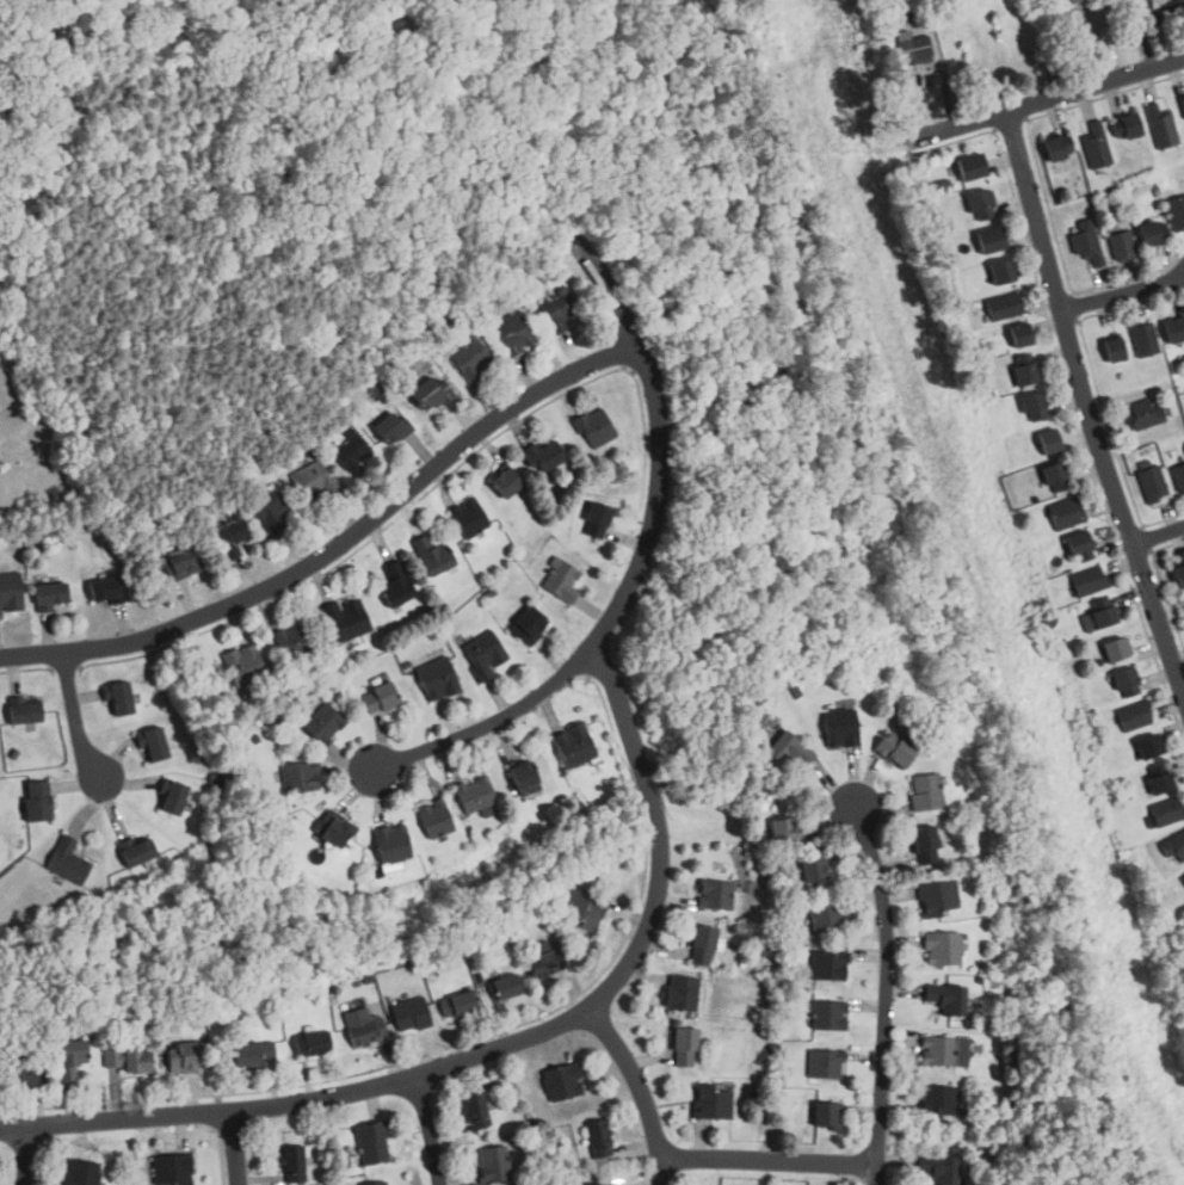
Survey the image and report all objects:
building: (1166, 2)
building: (914, 48)
road: (1052, 98)
building: (1183, 99)
building: (1128, 125)
building: (1164, 126)
building: (1098, 144)
building: (1057, 147)
building: (972, 167)
park: (322, 175)
building: (982, 205)
building: (1177, 211)
building: (1152, 233)
building: (991, 240)
building: (1089, 242)
building: (1123, 246)
building: (1003, 272)
road: (1123, 294)
building: (1004, 307)
building: (557, 310)
building: (1174, 329)
building: (514, 333)
building: (1020, 334)
building: (1145, 339)
building: (1114, 350)
building: (469, 358)
building: (1028, 372)
building: (431, 393)
road: (1086, 402)
building: (1034, 407)
building: (1146, 415)
building: (391, 426)
building: (596, 427)
building: (1048, 440)
building: (351, 452)
building: (544, 455)
building: (1056, 476)
building: (1179, 477)
building: (505, 481)
building: (314, 482)
building: (1154, 485)
building: (1068, 512)
building: (275, 513)
building: (469, 517)
building: (596, 520)
building: (230, 535)
road: (1159, 535)
road: (340, 545)
building: (1080, 547)
building: (433, 554)
building: (180, 562)
road: (636, 575)
building: (1179, 575)
building: (561, 580)
building: (1091, 581)
building: (396, 585)
building: (106, 590)
building: (11, 592)
building: (50, 595)
building: (1104, 616)
building: (347, 618)
building: (528, 625)
building: (294, 643)
building: (1117, 649)
building: (485, 654)
building: (243, 665)
building: (437, 679)
building: (1127, 683)
building: (380, 697)
building: (121, 698)
building: (24, 710)
building: (1135, 715)
road: (76, 718)
building: (323, 723)
building: (841, 727)
building: (154, 743)
building: (573, 745)
building: (1151, 746)
building: (896, 748)
building: (790, 749)
building: (301, 777)
building: (524, 778)
building: (1160, 782)
building: (926, 791)
building: (475, 794)
building: (173, 797)
building: (36, 801)
building: (1167, 811)
building: (436, 819)
building: (787, 829)
building: (335, 831)
building: (391, 843)
building: (926, 845)
building: (1173, 845)
building: (137, 852)
building: (68, 860)
building: (814, 869)
building: (1183, 880)
building: (717, 895)
building: (939, 896)
building: (585, 909)
building: (828, 915)
building: (703, 945)
building: (943, 949)
building: (547, 963)
building: (830, 965)
building: (505, 987)
building: (682, 993)
road: (887, 994)
building: (946, 998)
building: (457, 1005)
building: (412, 1016)
building: (830, 1016)
building: (364, 1027)
building: (314, 1043)
building: (685, 1048)
road: (492, 1049)
building: (939, 1053)
building: (254, 1054)
building: (183, 1059)
building: (129, 1060)
building: (70, 1061)
building: (25, 1066)
building: (826, 1066)
building: (563, 1082)
road: (641, 1090)
building: (941, 1101)
building: (714, 1103)
building: (475, 1111)
building: (826, 1117)
road: (430, 1130)
building: (599, 1138)
building: (374, 1143)
road: (236, 1148)
road: (25, 1155)
road: (767, 1159)
building: (295, 1164)
building: (494, 1165)
building: (939, 1168)
building: (173, 1169)
building: (80, 1172)
building: (376, 1184)
building: (597, 1184)

